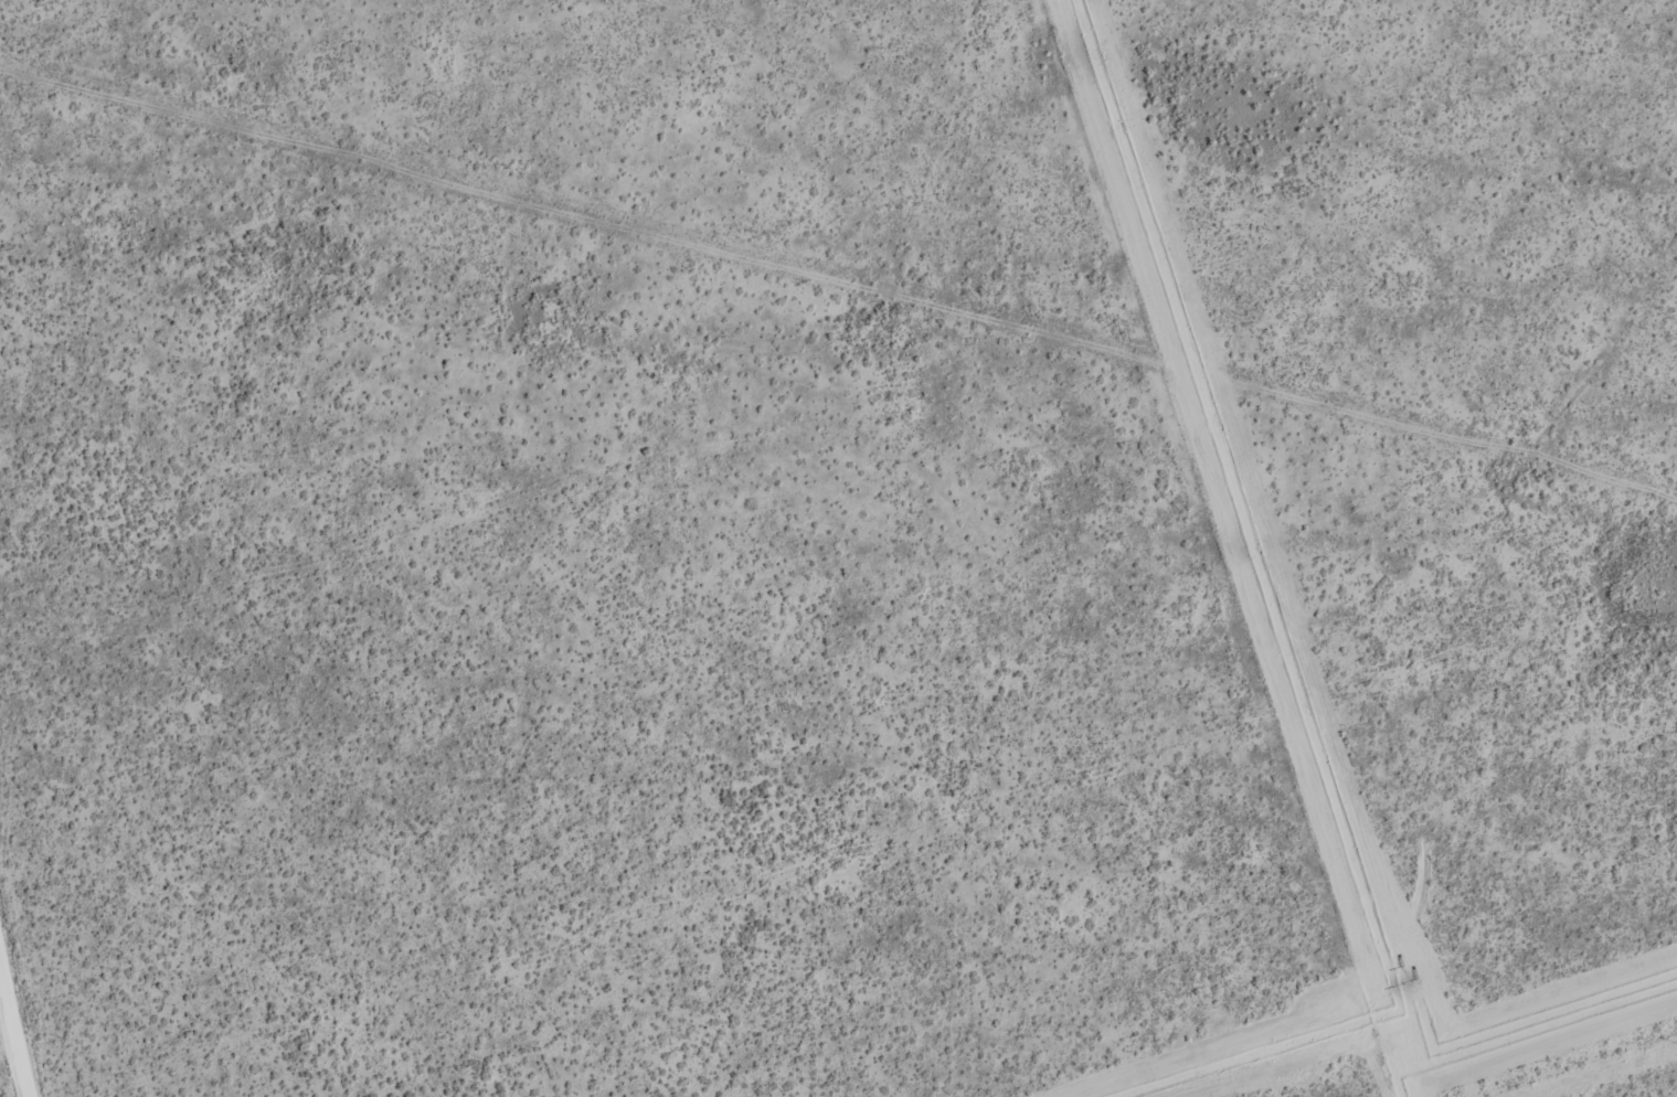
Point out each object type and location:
road: (839, 300)
road: (13, 1034)

